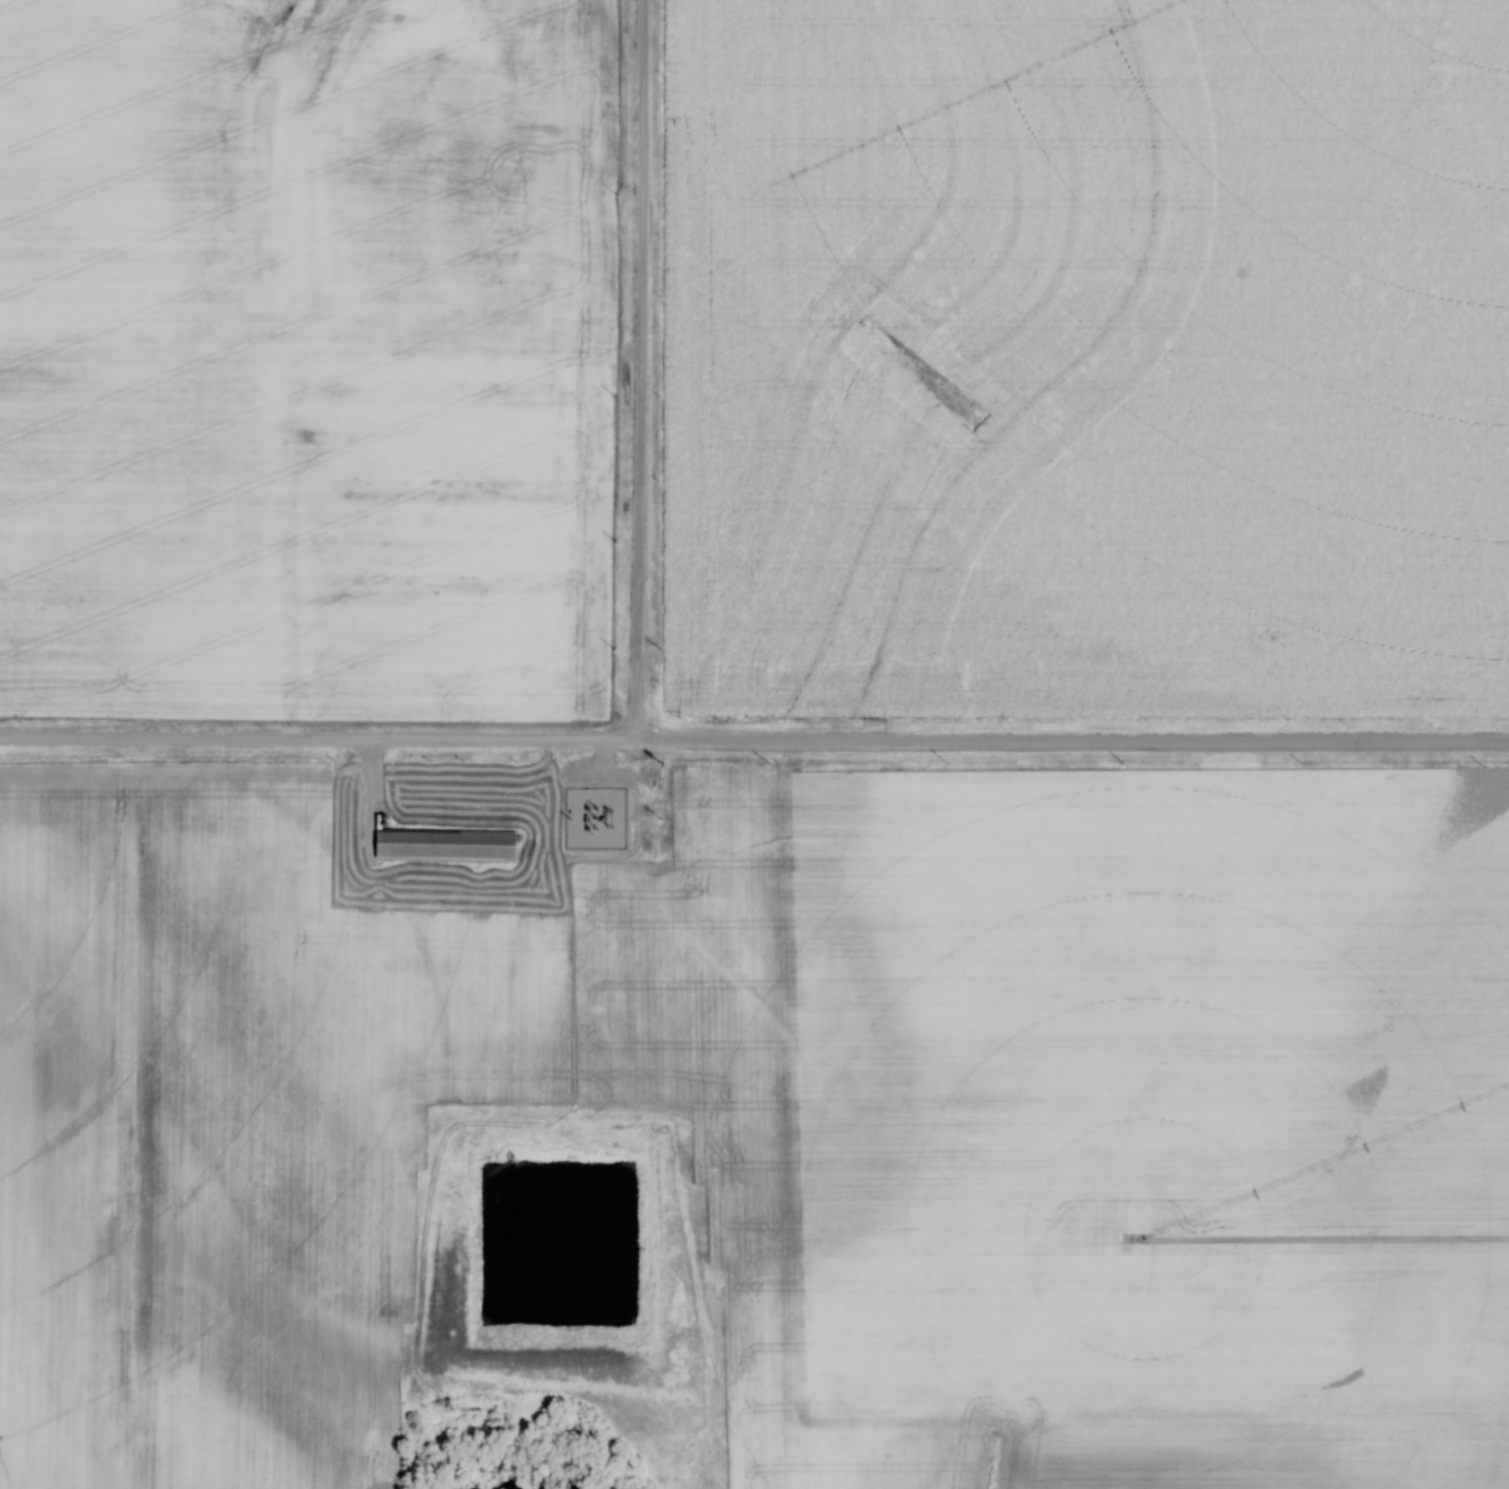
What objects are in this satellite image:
road: (640, 372)
road: (754, 745)
building: (448, 843)

